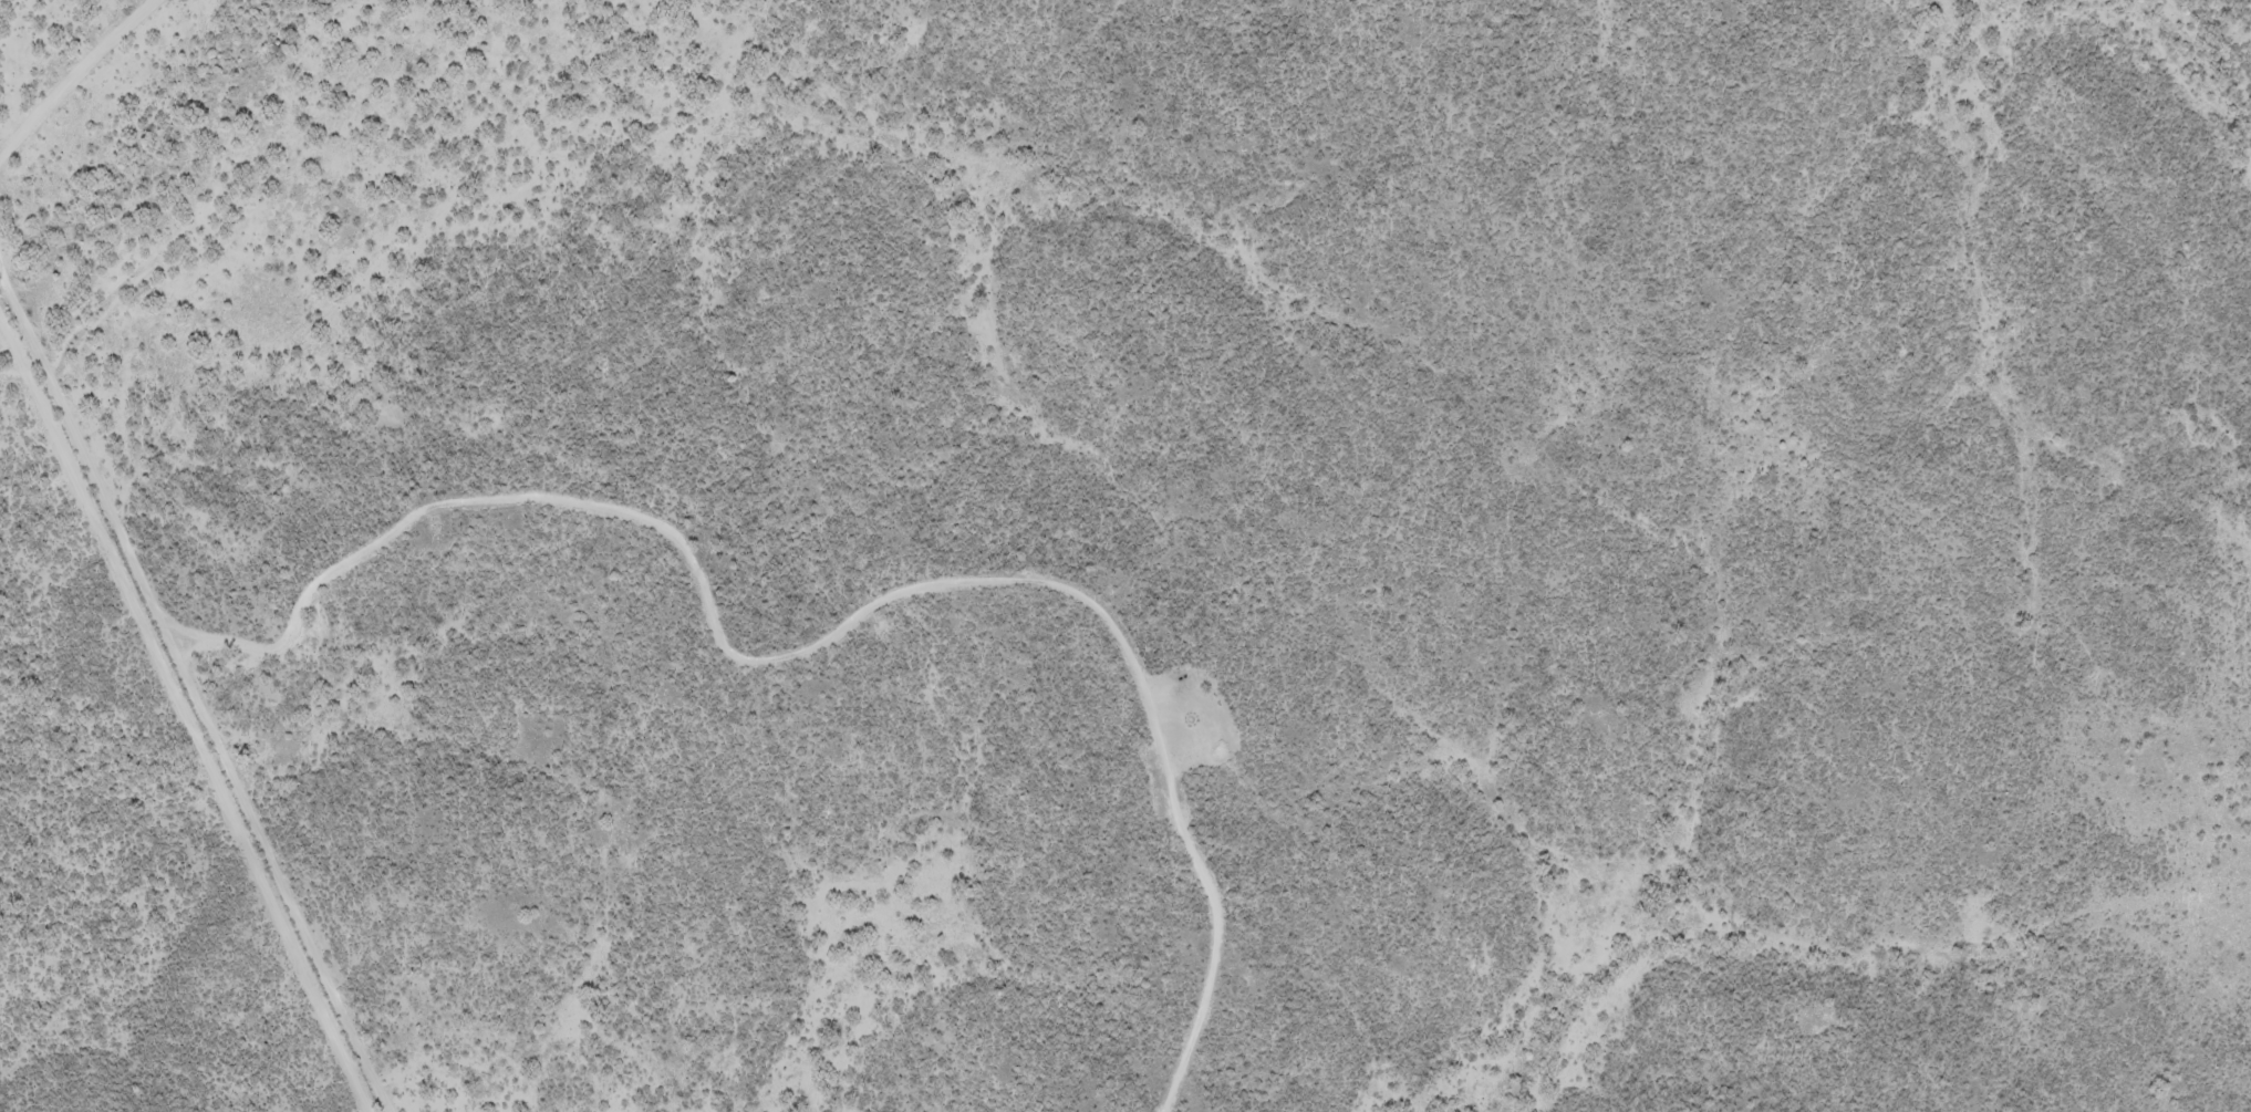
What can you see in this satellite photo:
road: (71, 72)
road: (194, 703)

